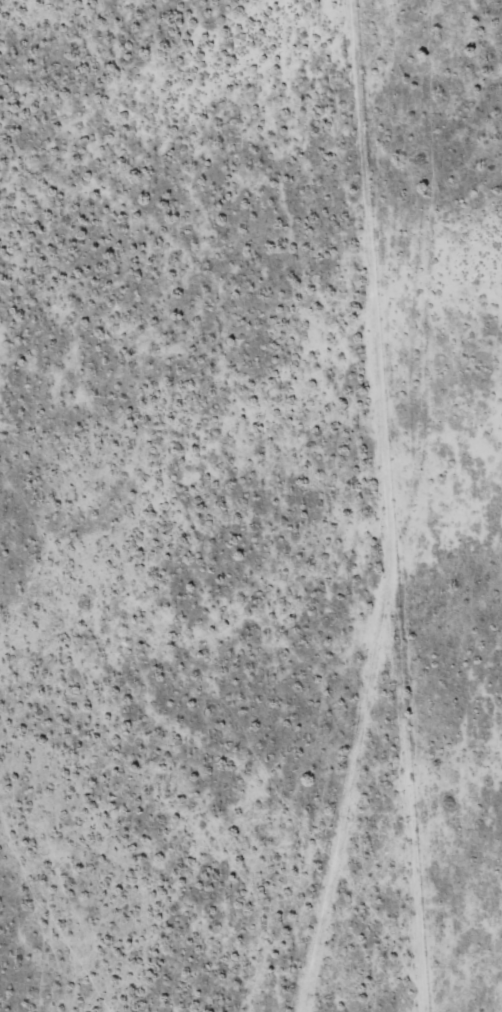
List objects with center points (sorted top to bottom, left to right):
road: (410, 512)

